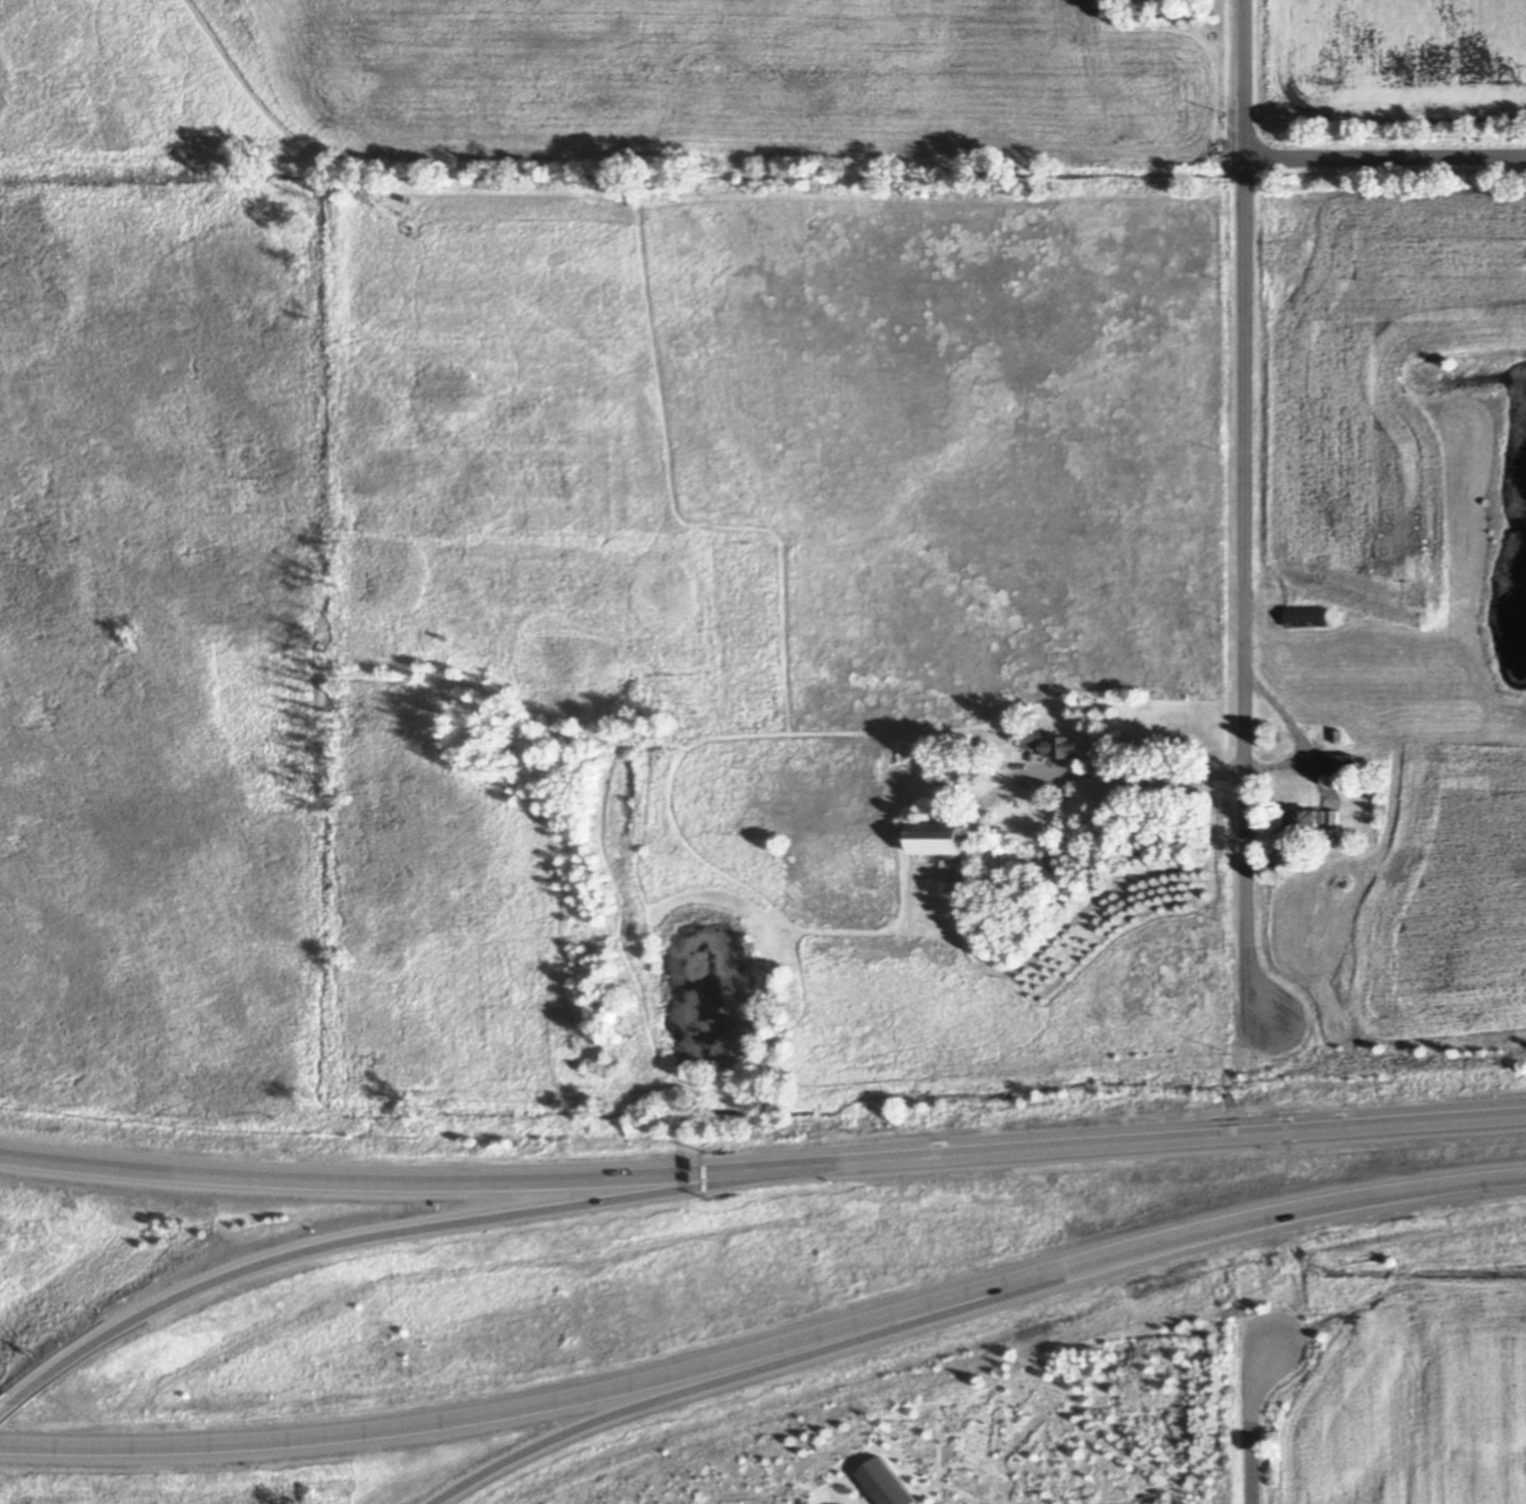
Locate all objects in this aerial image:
road: (1385, 158)
road: (1247, 514)
building: (1308, 616)
road: (1299, 731)
building: (1336, 734)
building: (1053, 744)
building: (1343, 764)
building: (977, 765)
road: (1139, 770)
building: (1366, 792)
building: (925, 813)
building: (1316, 820)
building: (943, 842)
road: (1211, 1138)
road: (447, 1179)
road: (445, 1226)
building: (1399, 1272)
road: (1397, 1277)
road: (768, 1348)
road: (751, 1372)
road: (14, 1407)
road: (1251, 1421)
building: (883, 1484)

